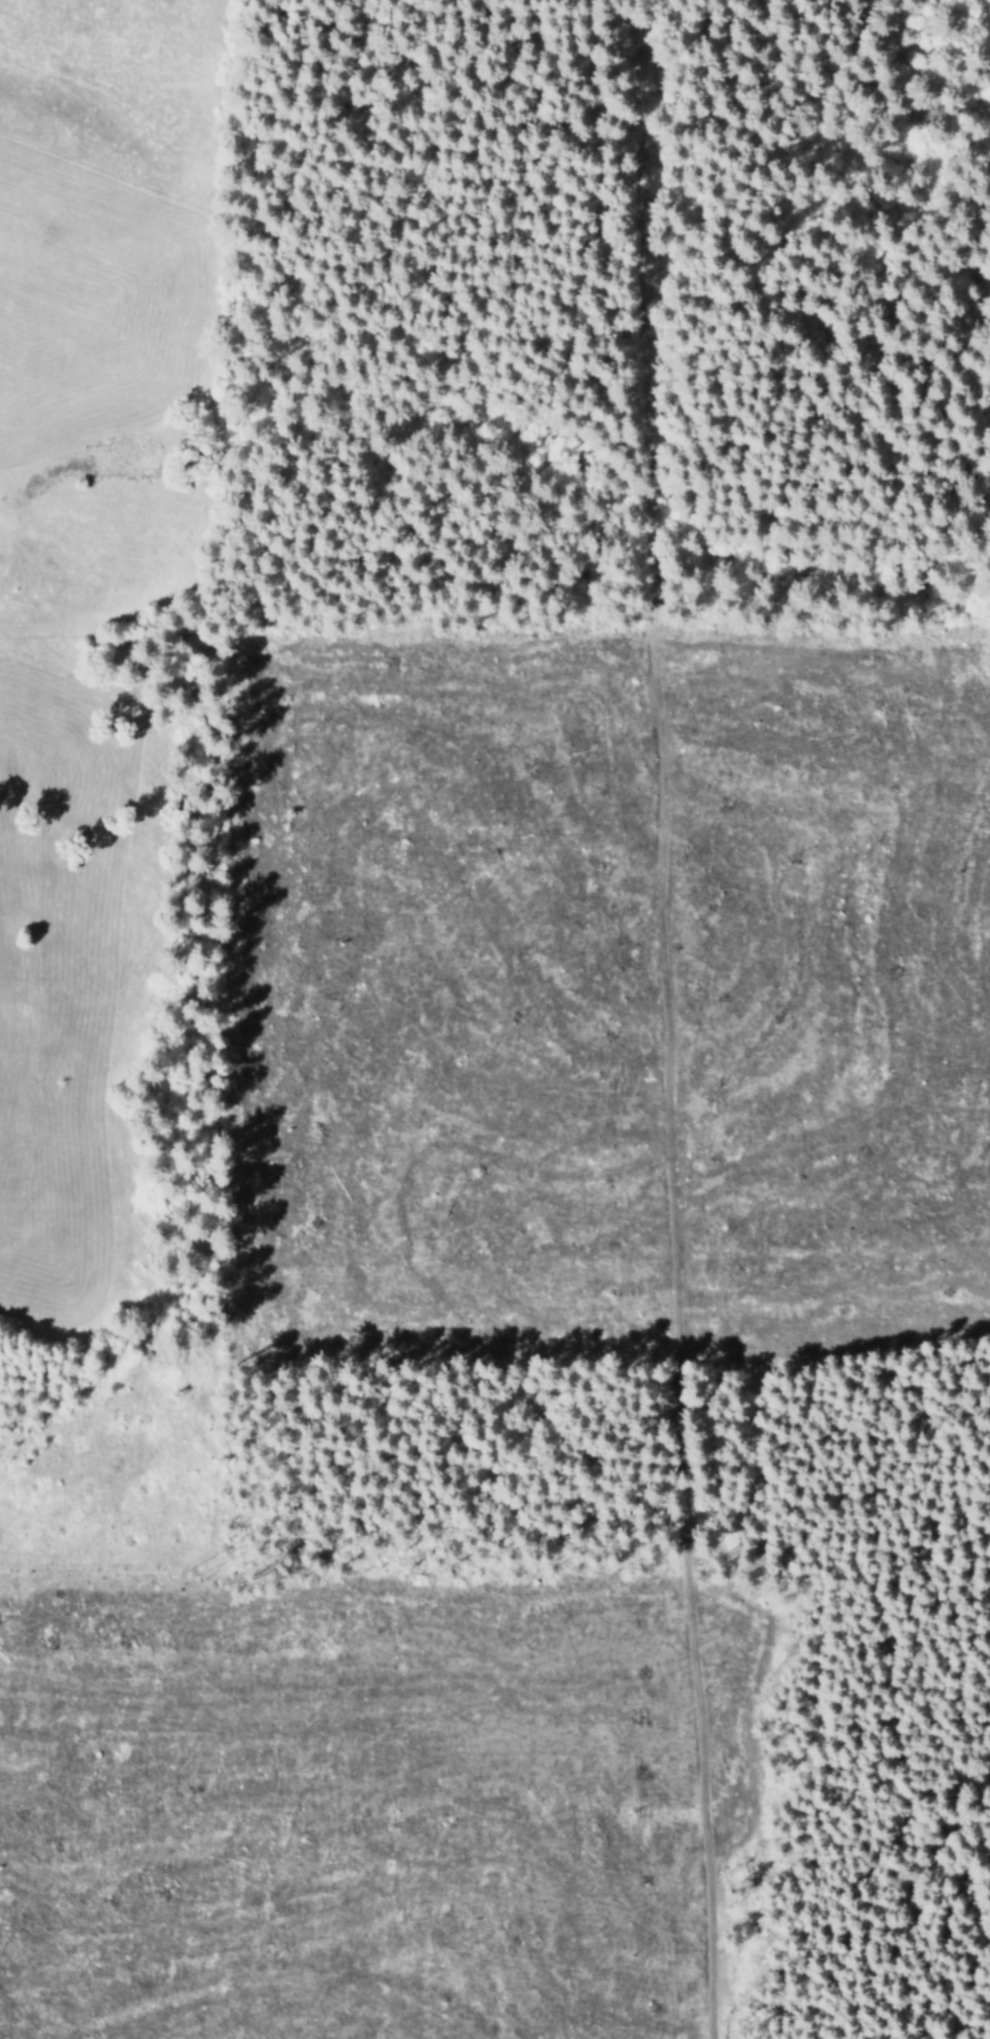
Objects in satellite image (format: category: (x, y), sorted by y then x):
road: (767, 1268)
road: (844, 1338)
road: (866, 1606)
road: (694, 1691)

